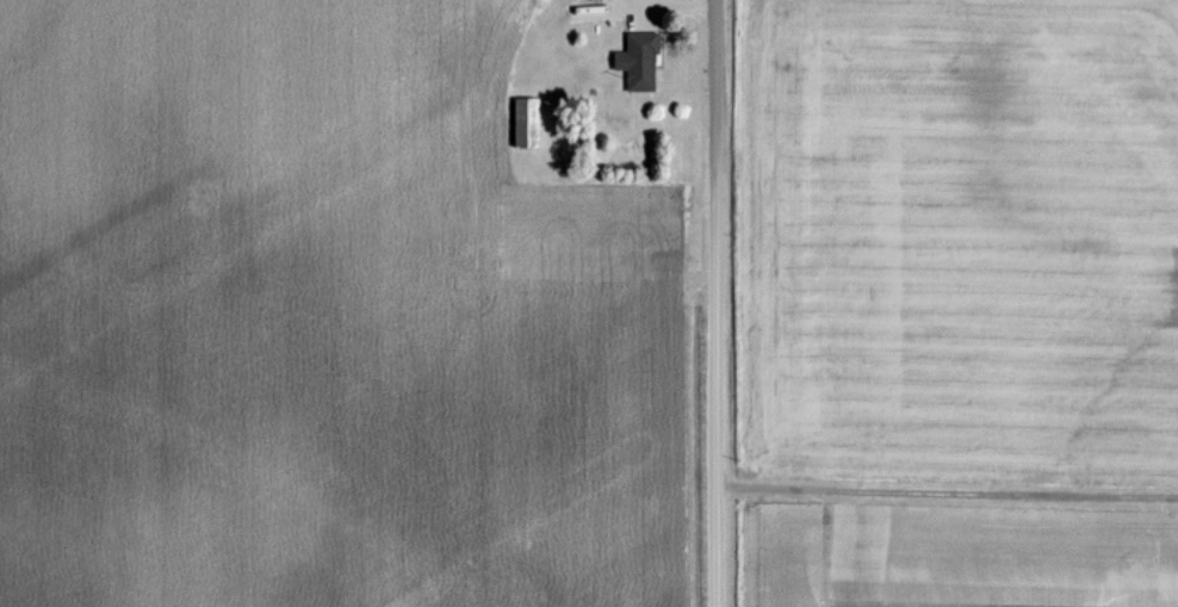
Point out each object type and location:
road: (712, 303)
road: (945, 489)

